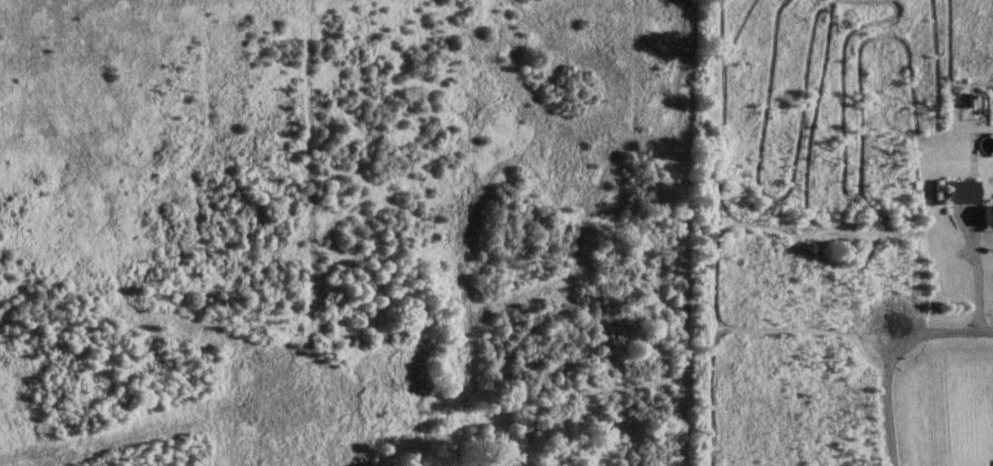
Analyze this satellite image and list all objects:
building: (961, 194)
building: (987, 218)
road: (969, 270)
road: (943, 332)
road: (885, 398)

